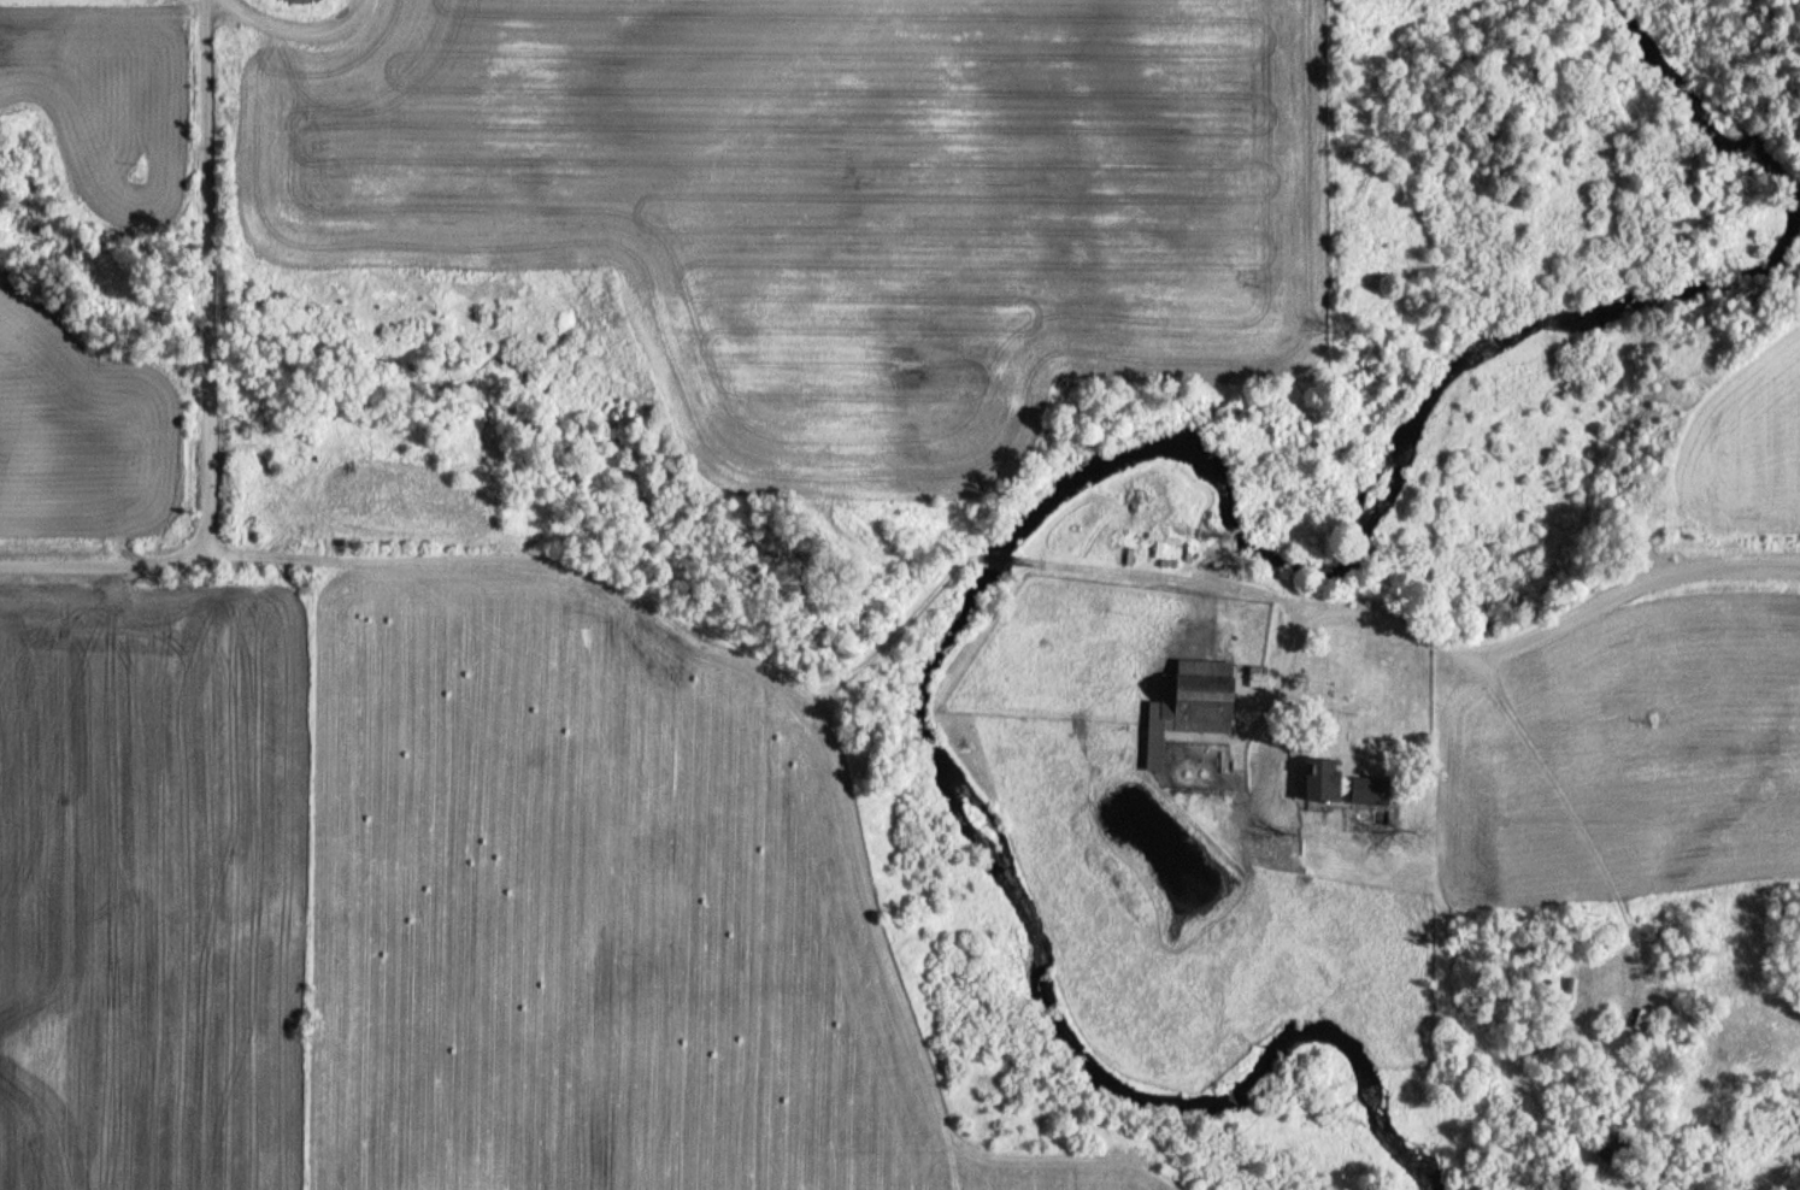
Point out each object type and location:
road: (211, 272)
river: (1119, 455)
road: (218, 549)
road: (105, 564)
road: (1134, 570)
road: (1681, 572)
road: (636, 593)
road: (1282, 599)
road: (1318, 618)
road: (1410, 631)
road: (1527, 642)
road: (1292, 655)
road: (1266, 691)
building: (1188, 703)
road: (1336, 706)
building: (1318, 779)
building: (1367, 789)
building: (1571, 990)
building: (1639, 1018)

